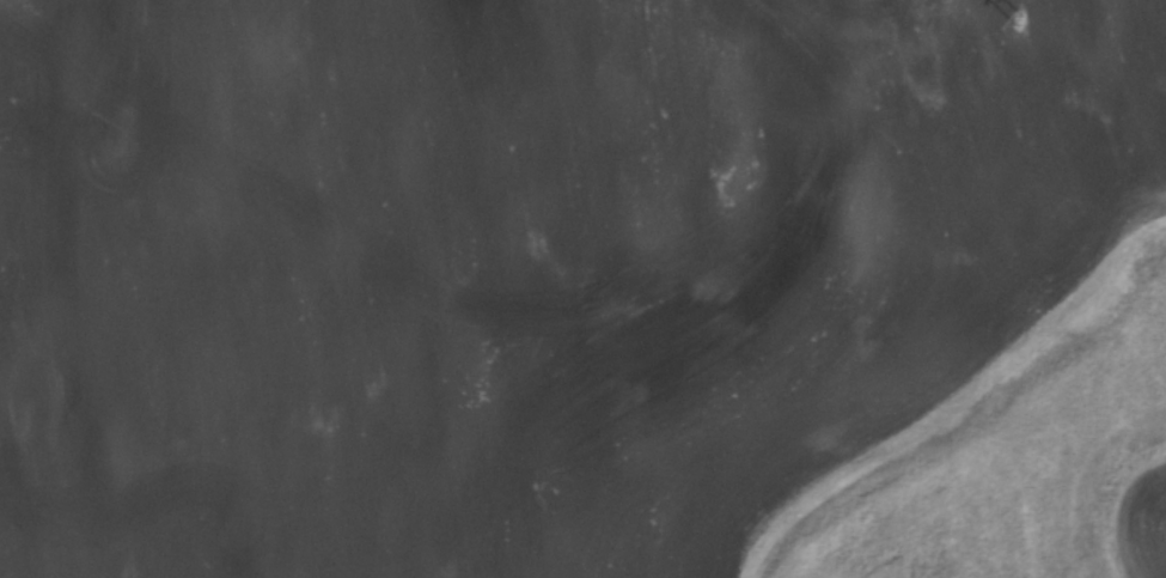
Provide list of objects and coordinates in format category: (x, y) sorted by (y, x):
power tower: (1019, 16)

